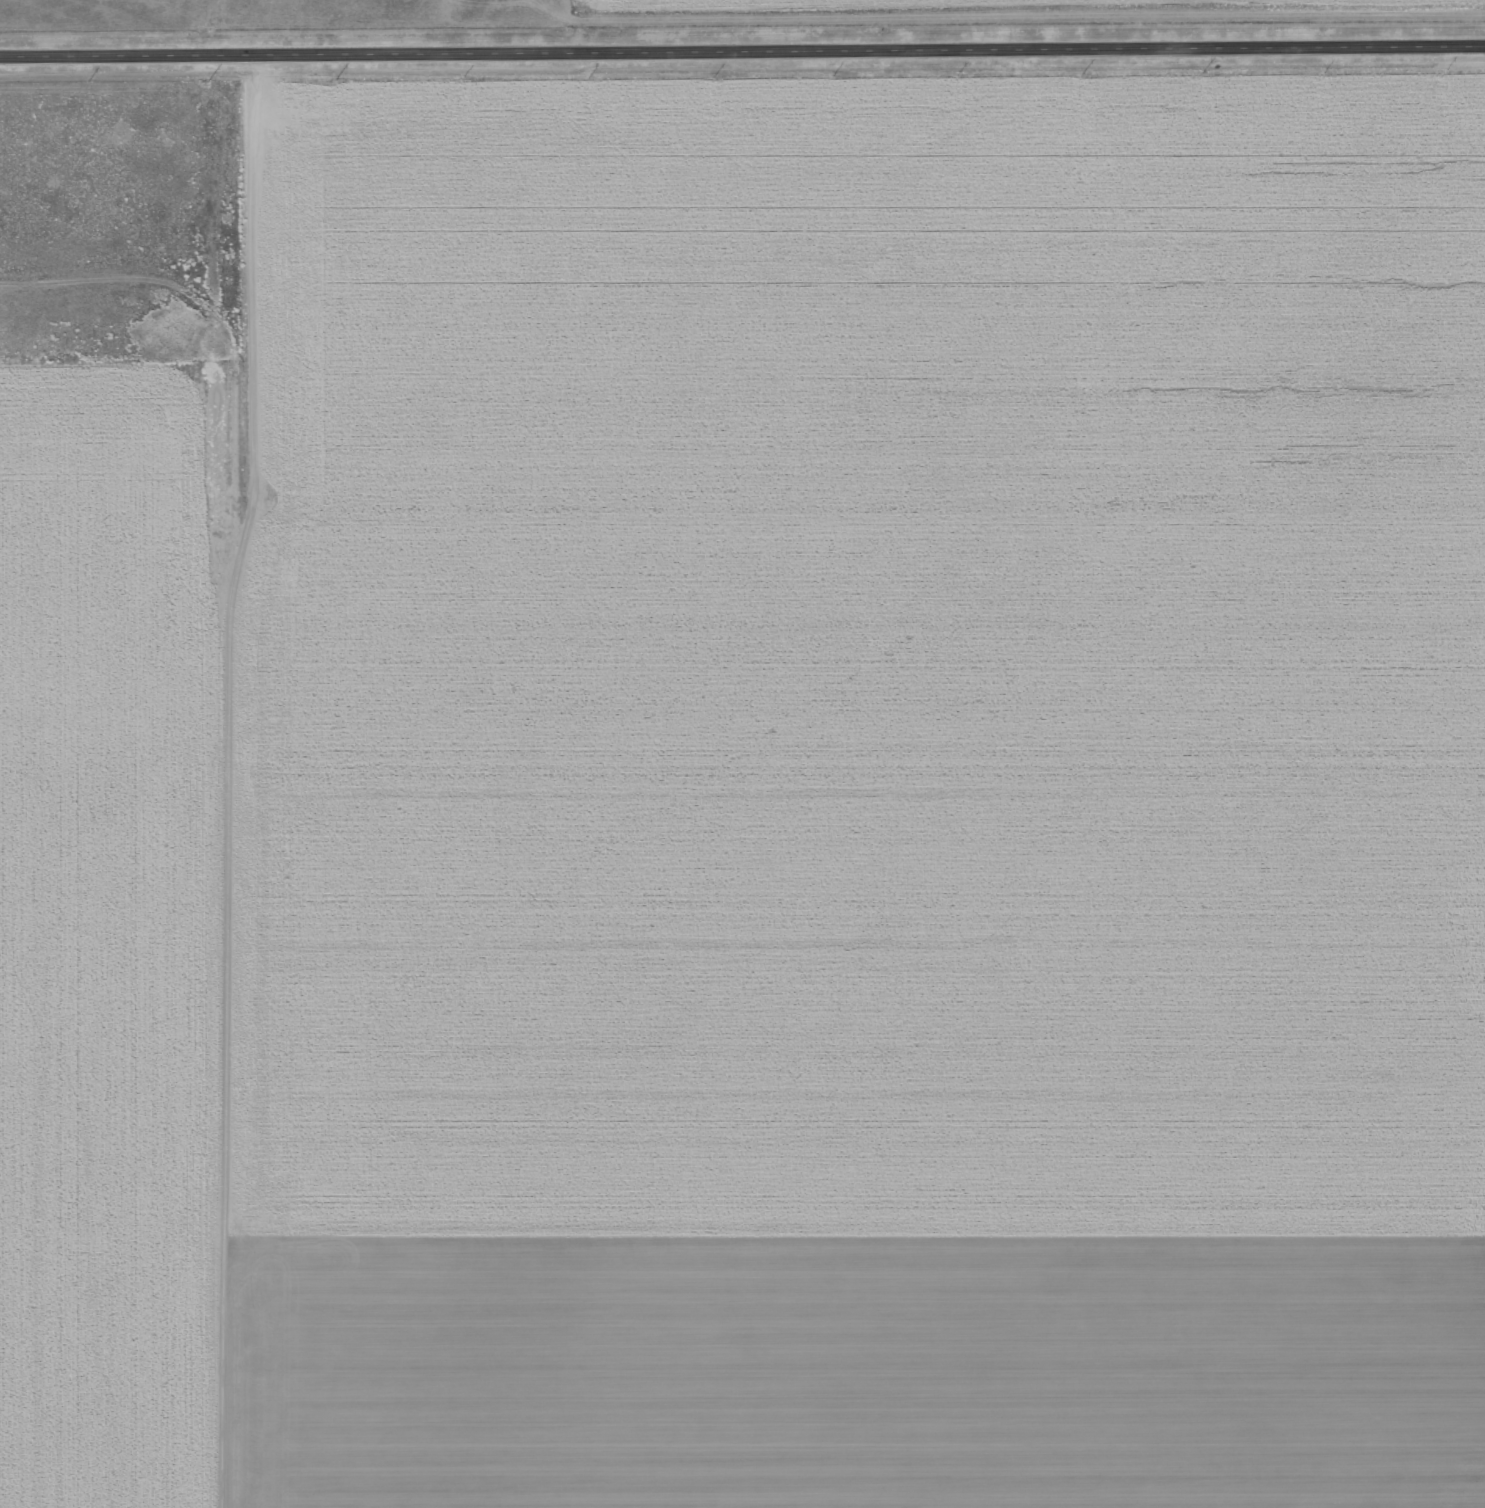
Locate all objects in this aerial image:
road: (742, 52)

